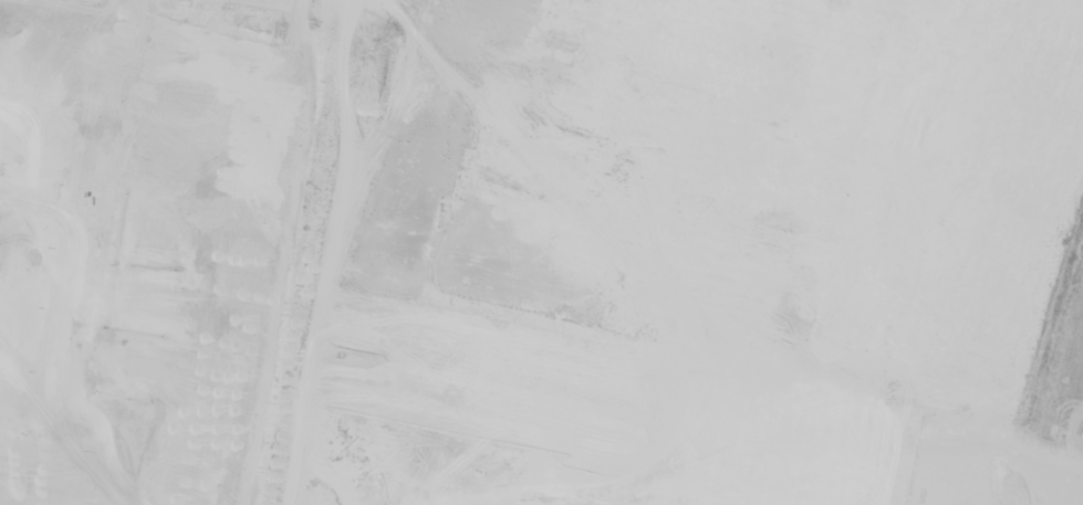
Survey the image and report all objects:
road: (785, 252)

